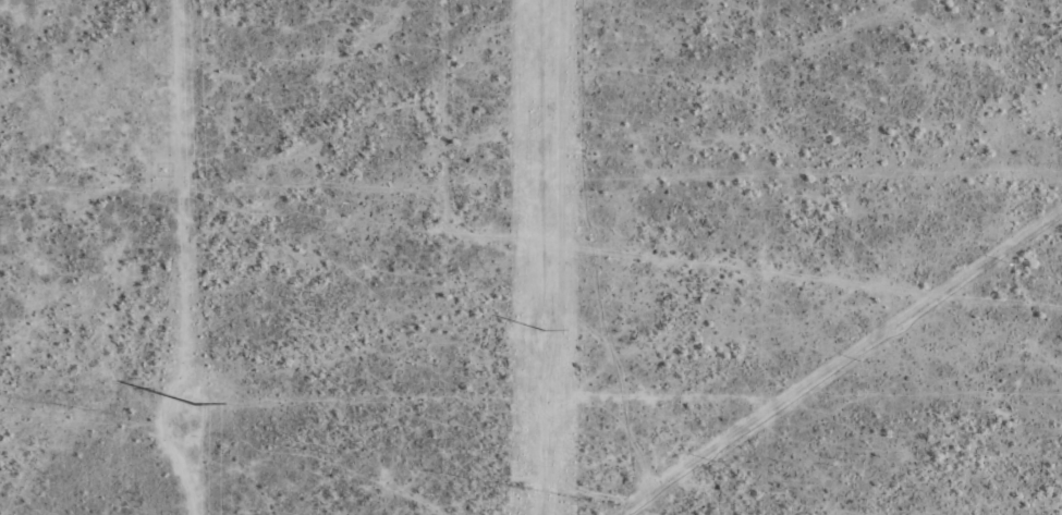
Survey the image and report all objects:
road: (1028, 138)
road: (530, 219)
power tower: (544, 321)

